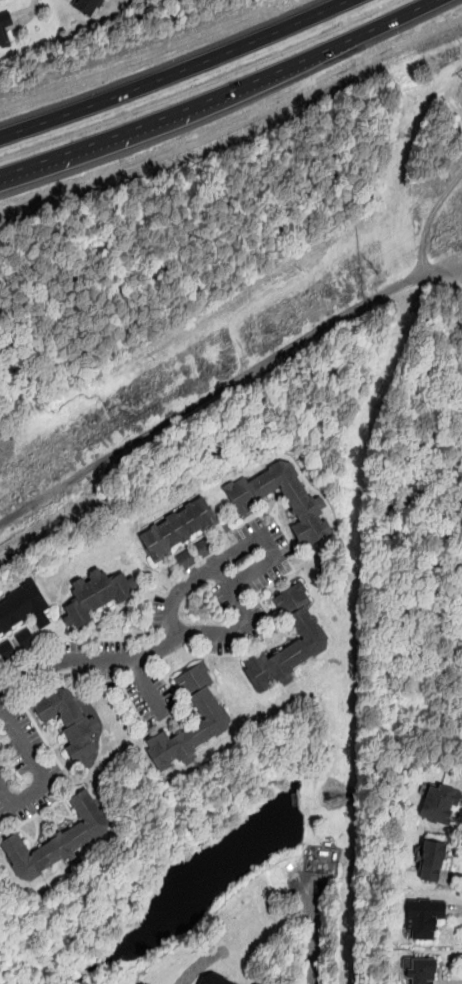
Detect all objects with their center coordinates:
building: (87, 6)
road: (401, 14)
building: (4, 28)
road: (175, 71)
road: (187, 106)
road: (409, 121)
road: (339, 147)
road: (184, 257)
road: (188, 289)
road: (170, 420)
road: (403, 482)
building: (306, 503)
building: (177, 527)
building: (204, 547)
road: (271, 553)
building: (184, 560)
building: (96, 594)
building: (22, 607)
road: (411, 614)
building: (301, 622)
building: (25, 638)
building: (7, 650)
road: (86, 659)
road: (148, 688)
building: (204, 703)
building: (70, 723)
road: (38, 771)
building: (439, 803)
building: (58, 839)
building: (431, 860)
building: (422, 916)
building: (419, 969)
building: (213, 979)
building: (253, 983)

